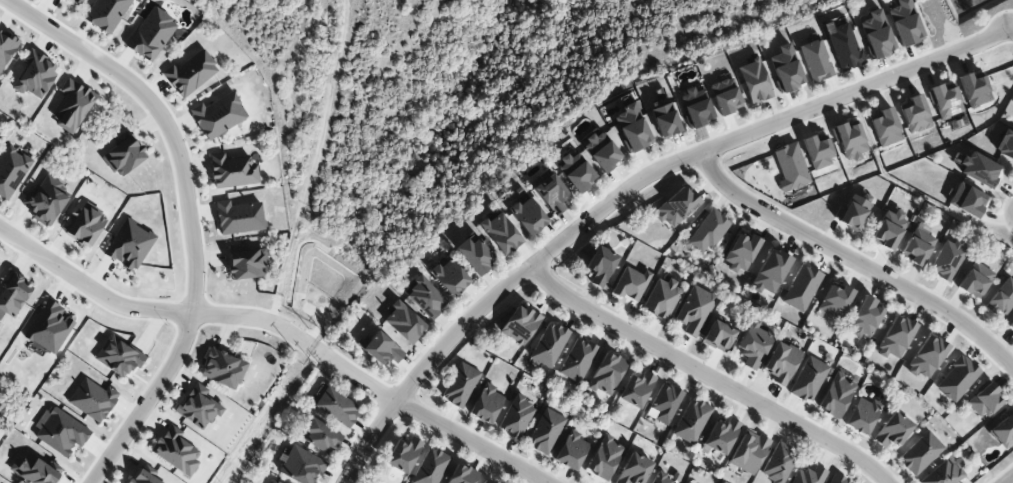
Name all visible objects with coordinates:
building: (905, 23)
road: (1012, 33)
building: (876, 34)
building: (843, 46)
building: (815, 61)
building: (785, 68)
building: (190, 73)
building: (754, 81)
building: (975, 89)
building: (724, 95)
building: (945, 100)
building: (696, 108)
building: (915, 114)
building: (217, 115)
building: (665, 119)
building: (632, 127)
building: (886, 127)
building: (849, 140)
building: (1005, 145)
building: (601, 151)
building: (817, 152)
building: (790, 167)
building: (232, 171)
building: (576, 171)
road: (627, 185)
building: (551, 194)
building: (967, 200)
building: (676, 207)
building: (852, 211)
road: (191, 214)
building: (527, 215)
building: (239, 217)
building: (888, 229)
building: (708, 231)
building: (501, 233)
building: (917, 244)
building: (741, 252)
building: (475, 254)
road: (856, 259)
building: (948, 260)
building: (247, 264)
building: (600, 265)
building: (769, 272)
building: (449, 276)
building: (975, 279)
building: (630, 283)
building: (801, 288)
building: (1002, 297)
building: (425, 298)
building: (661, 299)
building: (835, 300)
building: (694, 310)
road: (150, 311)
building: (865, 317)
building: (404, 322)
building: (520, 324)
building: (1011, 325)
building: (718, 336)
building: (895, 337)
building: (753, 344)
building: (549, 345)
building: (380, 348)
building: (926, 357)
building: (577, 360)
building: (781, 362)
building: (223, 369)
building: (607, 373)
road: (706, 377)
building: (957, 378)
building: (808, 379)
building: (460, 385)
building: (636, 389)
building: (835, 395)
building: (984, 400)
building: (665, 403)
building: (486, 404)
building: (198, 406)
building: (337, 407)
building: (861, 415)
building: (516, 417)
building: (691, 421)
road: (432, 422)
building: (1004, 429)
building: (893, 430)
building: (545, 431)
building: (721, 436)
building: (321, 437)
building: (571, 450)
building: (748, 452)
building: (178, 453)
building: (920, 453)
building: (403, 454)
building: (604, 458)
building: (778, 463)
building: (301, 466)
building: (430, 467)
building: (634, 469)
building: (944, 473)
building: (462, 474)
building: (809, 475)
building: (661, 479)
building: (837, 479)
road: (1009, 480)
building: (273, 481)
building: (483, 482)

